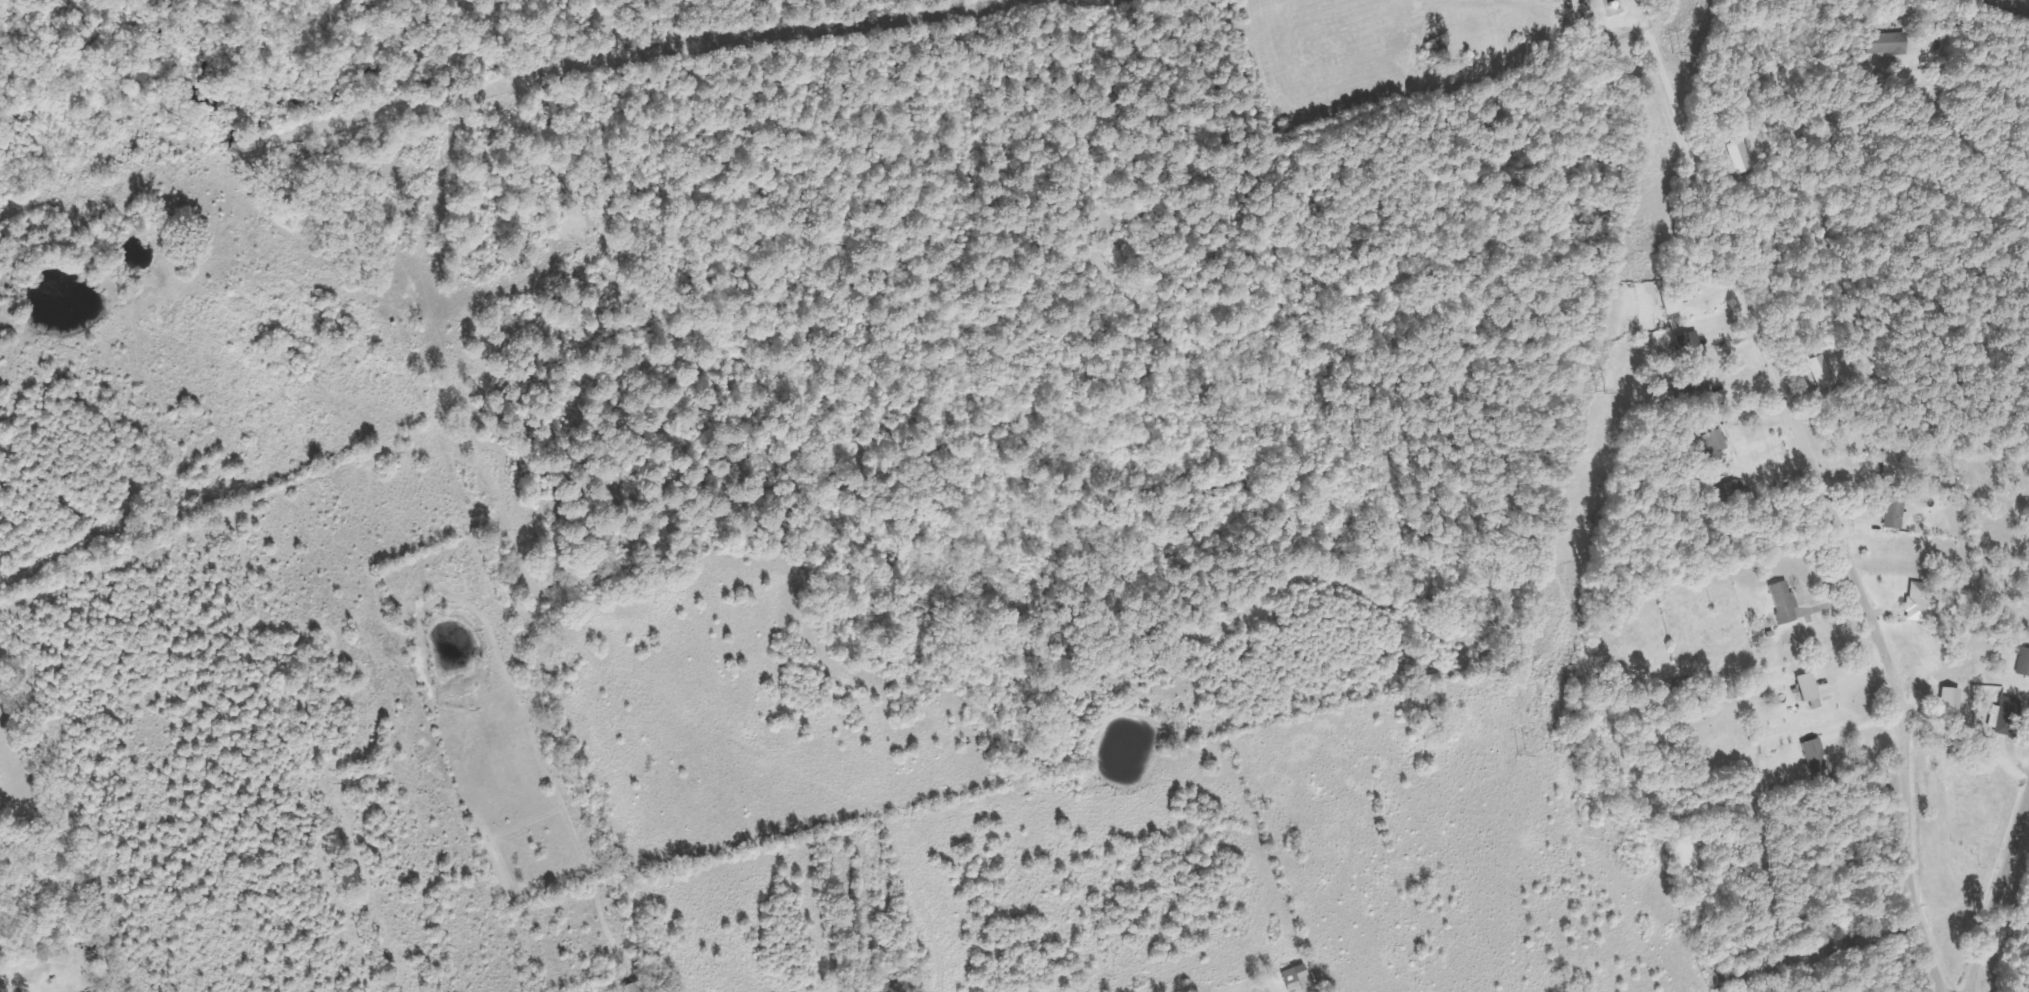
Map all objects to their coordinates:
building: (1895, 42)
power tower: (1675, 52)
building: (1743, 156)
building: (1690, 342)
building: (1825, 372)
power tower: (1602, 391)
building: (1711, 444)
building: (1729, 492)
road: (1822, 497)
building: (1896, 513)
building: (1785, 602)
building: (1919, 602)
building: (2024, 663)
building: (1809, 687)
building: (2002, 720)
building: (1816, 753)
power tower: (1522, 754)
road: (1998, 893)
building: (1298, 979)
building: (634, 987)

